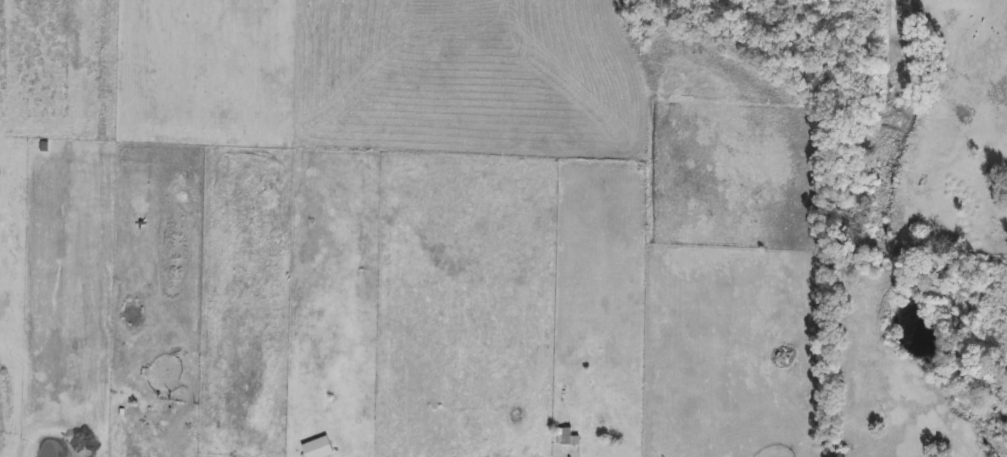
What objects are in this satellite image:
building: (183, 361)
building: (562, 436)
building: (348, 449)

